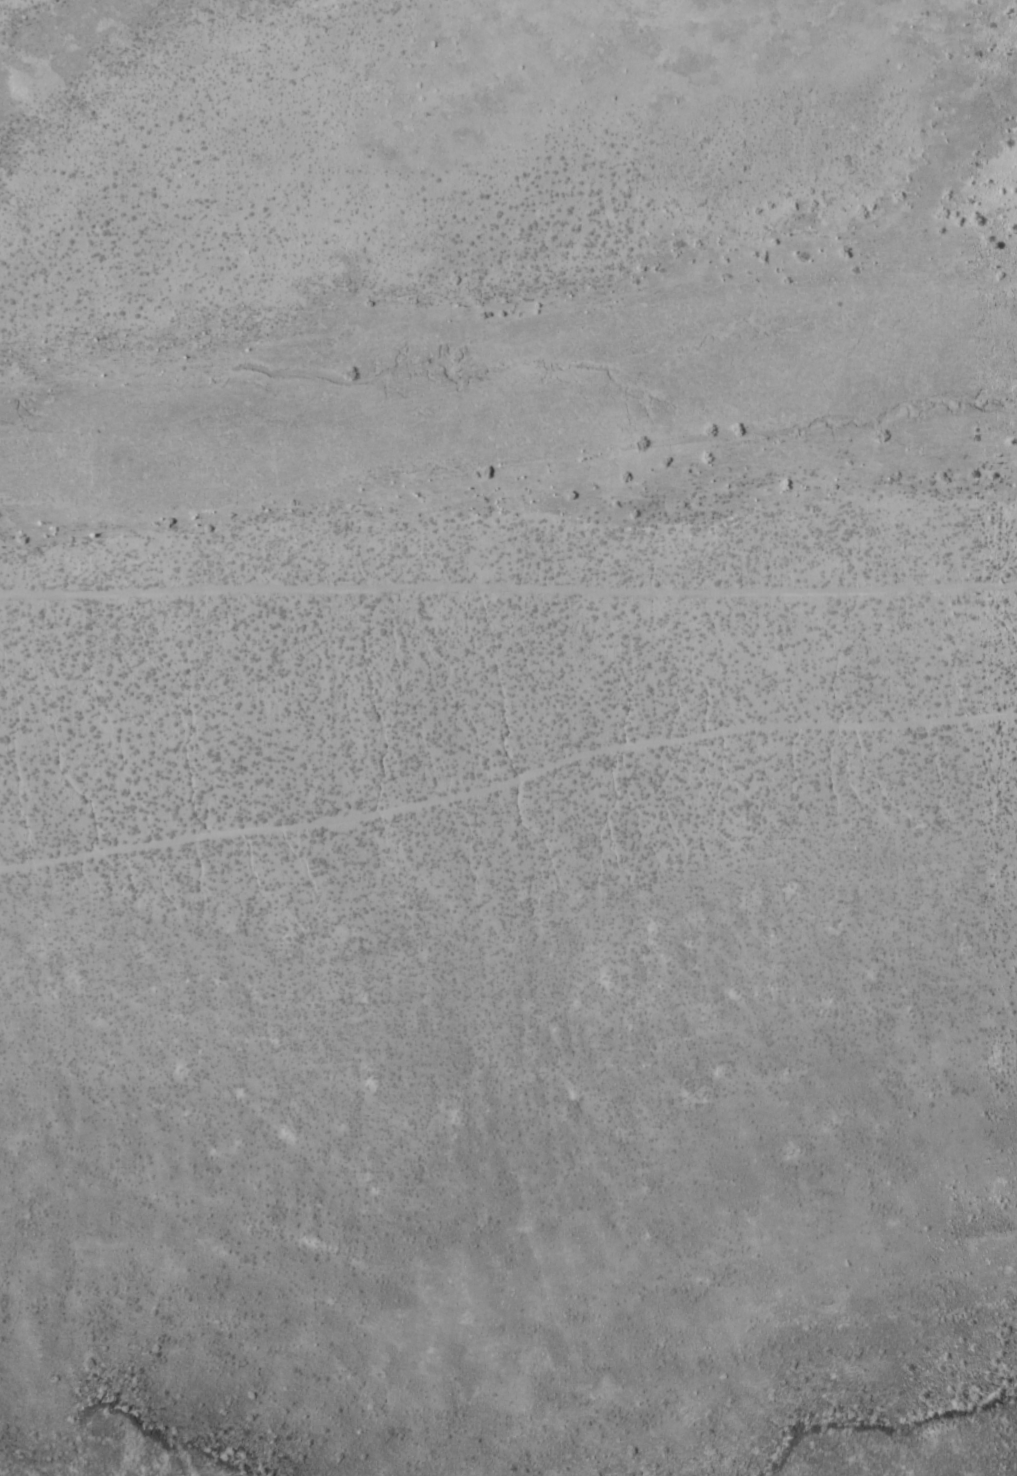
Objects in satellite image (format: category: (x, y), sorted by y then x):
road: (508, 775)

